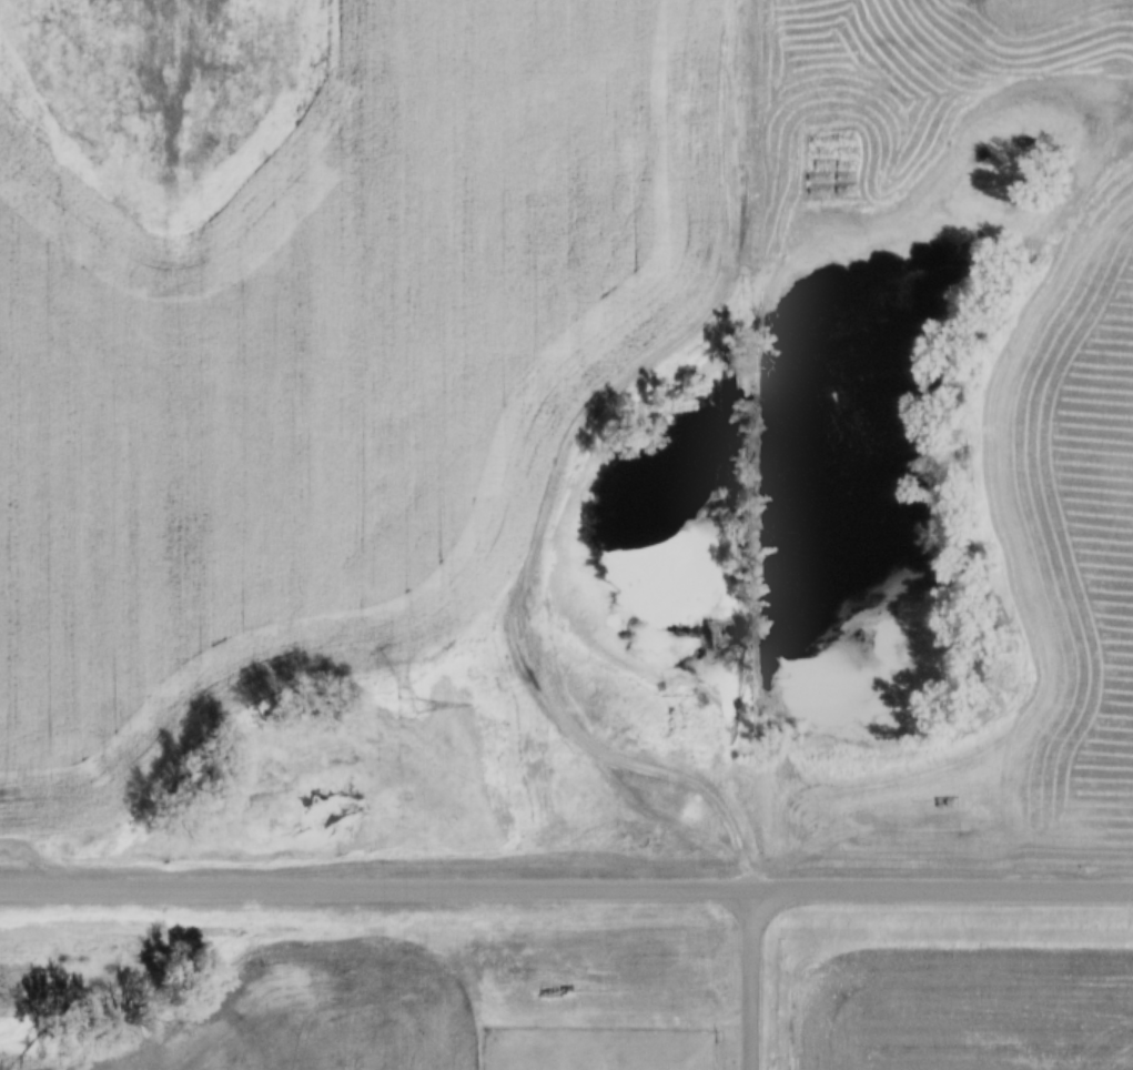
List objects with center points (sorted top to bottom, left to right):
road: (747, 446)
power tower: (405, 704)
road: (566, 891)
road: (749, 981)

